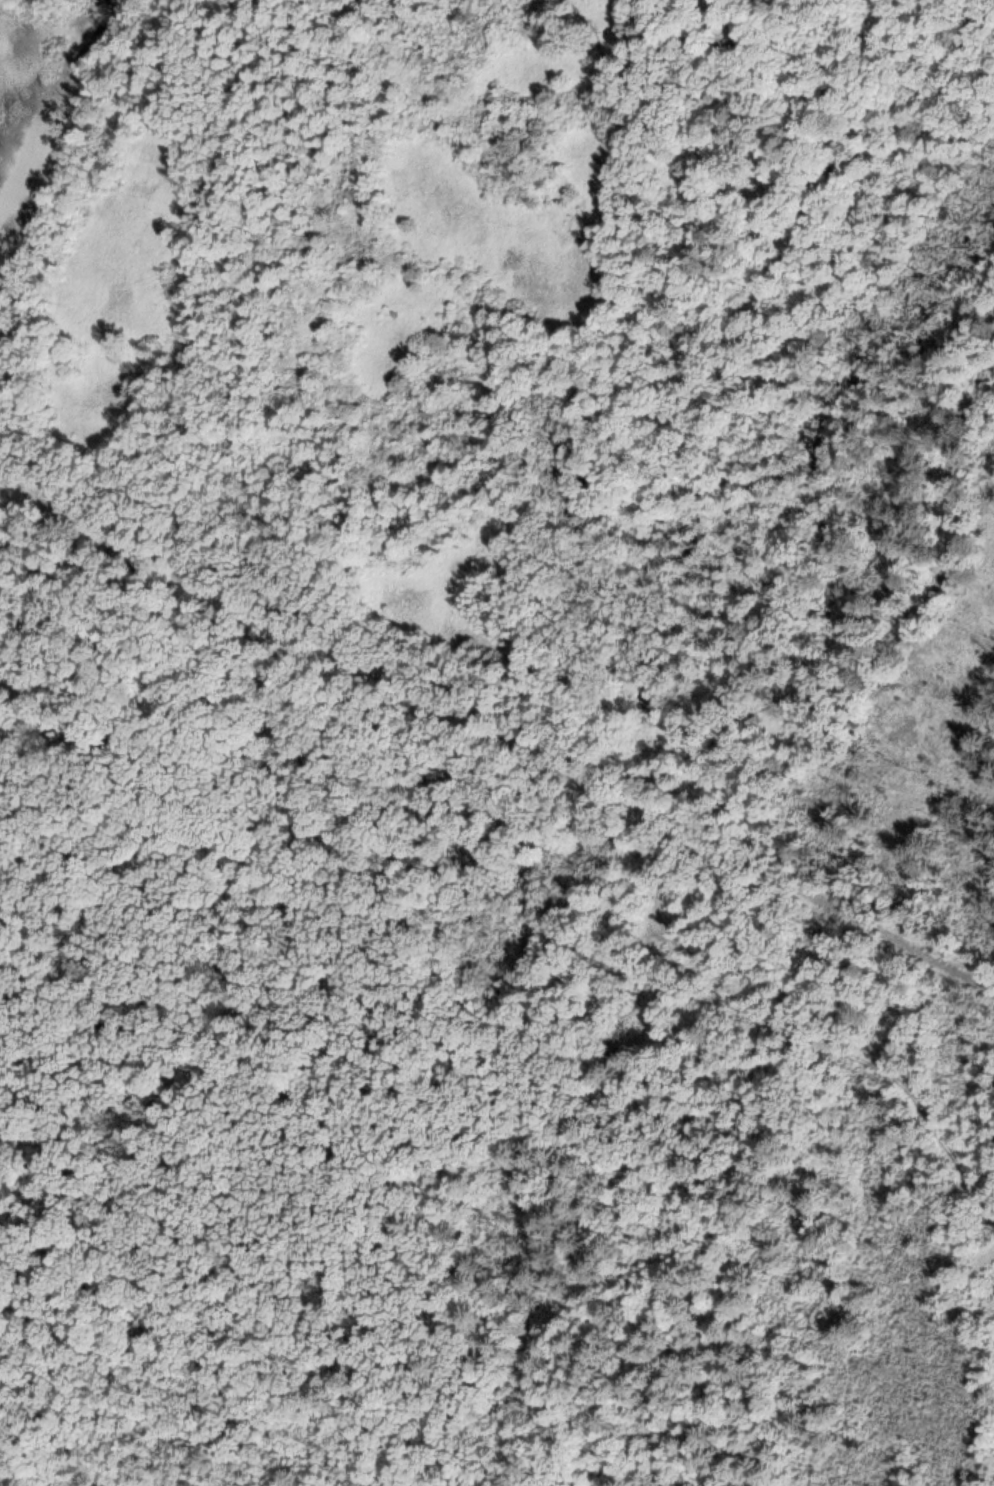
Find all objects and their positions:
road: (53, 569)
railway: (495, 736)

